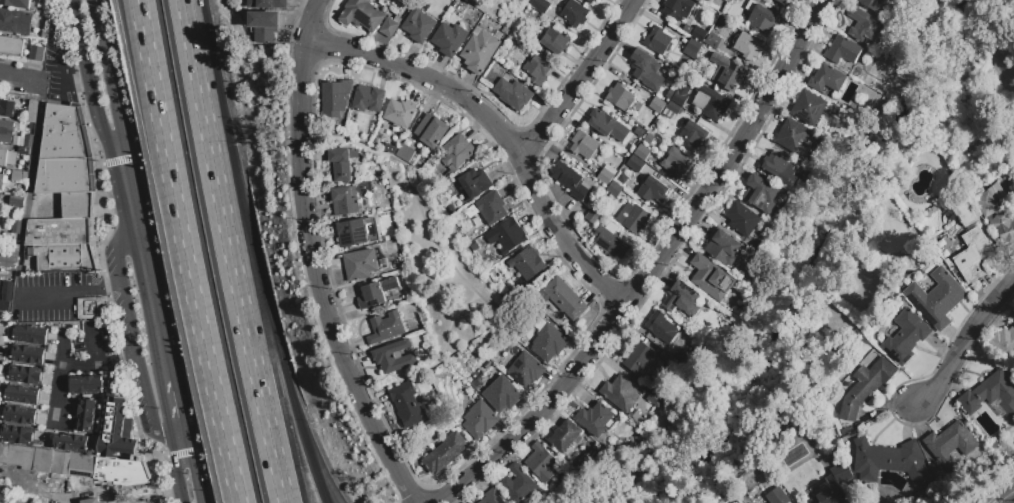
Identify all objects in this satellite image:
building: (705, 0)
building: (707, 0)
building: (589, 1)
building: (592, 1)
building: (781, 1)
building: (15, 4)
building: (266, 4)
building: (873, 4)
building: (539, 5)
building: (1013, 7)
building: (678, 9)
building: (574, 12)
building: (361, 14)
building: (762, 19)
building: (14, 22)
building: (418, 24)
building: (863, 24)
road: (187, 25)
building: (263, 27)
building: (388, 27)
road: (138, 28)
road: (141, 28)
building: (505, 31)
building: (698, 34)
building: (43, 35)
building: (449, 39)
building: (657, 40)
building: (554, 41)
building: (712, 41)
building: (747, 45)
building: (11, 46)
building: (692, 48)
building: (842, 50)
building: (479, 51)
building: (36, 53)
road: (61, 56)
building: (536, 69)
building: (647, 70)
building: (726, 71)
road: (106, 75)
road: (88, 77)
building: (829, 77)
road: (578, 78)
road: (17, 80)
building: (815, 85)
building: (513, 93)
building: (681, 93)
building: (620, 96)
building: (335, 98)
building: (368, 99)
building: (713, 103)
building: (657, 105)
building: (673, 107)
building: (808, 108)
building: (7, 109)
building: (32, 112)
building: (399, 113)
building: (607, 125)
building: (6, 131)
building: (431, 131)
road: (496, 131)
building: (638, 132)
building: (694, 133)
building: (62, 134)
building: (793, 135)
building: (648, 138)
building: (17, 141)
building: (27, 141)
building: (584, 145)
building: (387, 148)
building: (22, 151)
building: (642, 152)
building: (405, 153)
building: (456, 153)
building: (7, 158)
building: (342, 163)
building: (635, 163)
building: (677, 163)
building: (779, 167)
building: (606, 174)
building: (19, 176)
building: (63, 176)
building: (622, 179)
building: (570, 180)
building: (2, 181)
building: (474, 184)
building: (614, 189)
building: (652, 189)
building: (994, 189)
building: (761, 193)
building: (346, 201)
building: (76, 205)
building: (491, 208)
building: (449, 209)
building: (471, 212)
building: (965, 214)
building: (592, 216)
building: (633, 218)
building: (741, 218)
building: (997, 219)
building: (16, 227)
building: (359, 232)
building: (507, 236)
building: (611, 241)
building: (757, 244)
building: (62, 245)
building: (721, 247)
building: (975, 256)
road: (316, 259)
road: (4, 260)
road: (139, 261)
building: (362, 264)
building: (527, 264)
road: (652, 270)
road: (260, 276)
building: (707, 276)
road: (234, 277)
road: (190, 280)
road: (110, 285)
building: (6, 291)
road: (60, 292)
building: (378, 293)
building: (937, 298)
building: (565, 299)
building: (681, 299)
building: (4, 307)
building: (91, 308)
building: (660, 327)
building: (387, 328)
building: (3, 335)
building: (30, 335)
building: (905, 336)
road: (963, 340)
building: (1004, 341)
building: (548, 343)
road: (131, 345)
building: (28, 355)
building: (1, 356)
building: (395, 357)
building: (682, 357)
building: (638, 359)
building: (665, 359)
road: (97, 364)
building: (525, 370)
building: (26, 375)
road: (58, 383)
building: (86, 385)
building: (864, 387)
building: (620, 394)
building: (501, 395)
building: (990, 395)
building: (22, 396)
road: (168, 396)
building: (655, 399)
building: (408, 405)
building: (19, 415)
building: (86, 415)
building: (595, 419)
building: (479, 420)
building: (117, 431)
building: (17, 435)
road: (176, 436)
building: (564, 436)
building: (70, 443)
building: (950, 444)
building: (445, 453)
building: (17, 456)
building: (42, 461)
building: (889, 461)
building: (60, 463)
building: (541, 463)
building: (82, 466)
building: (937, 469)
building: (0, 470)
road: (193, 476)
road: (176, 478)
building: (834, 480)
building: (517, 484)
road: (328, 486)
building: (918, 495)
road: (1006, 495)
building: (776, 496)
building: (492, 497)
building: (91, 501)

